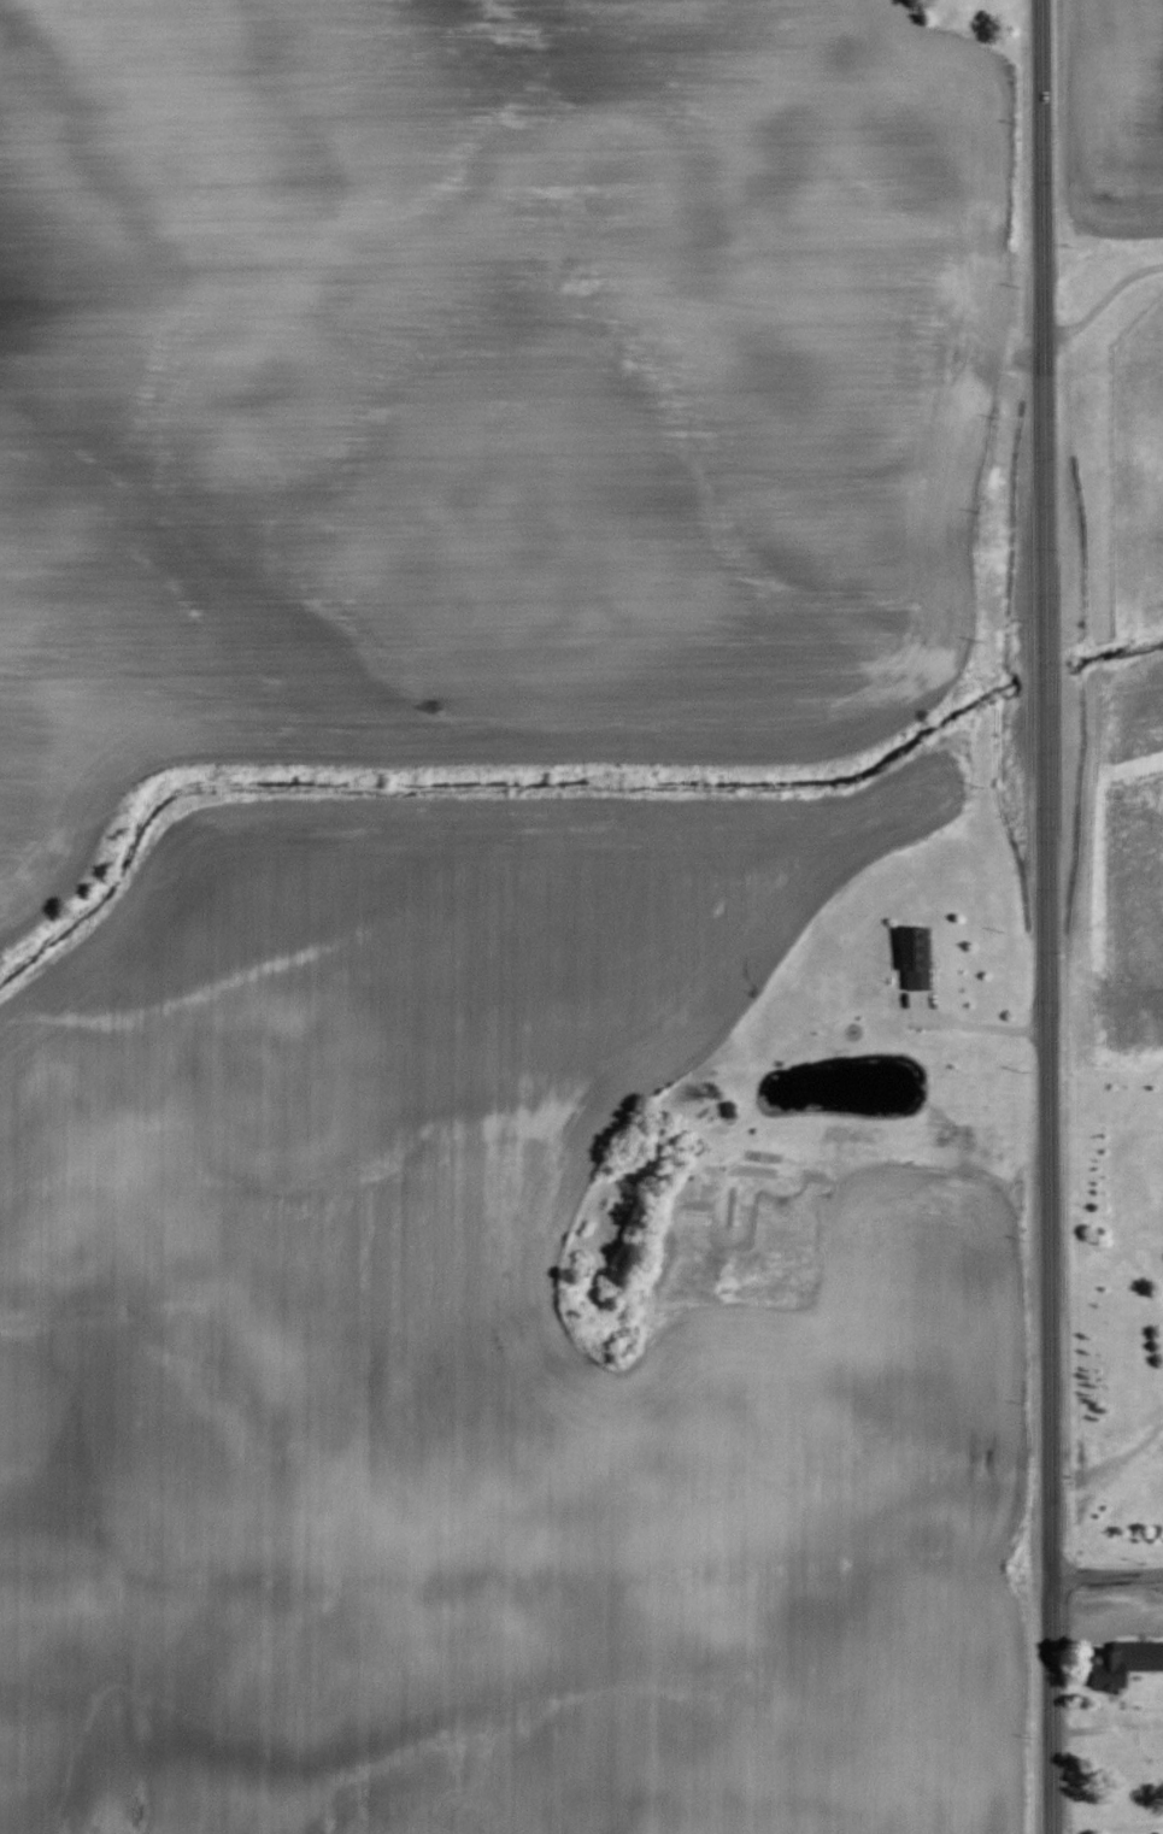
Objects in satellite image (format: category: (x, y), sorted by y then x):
road: (1103, 295)
road: (1050, 916)
building: (916, 957)
road: (1106, 1568)
building: (1122, 1662)

